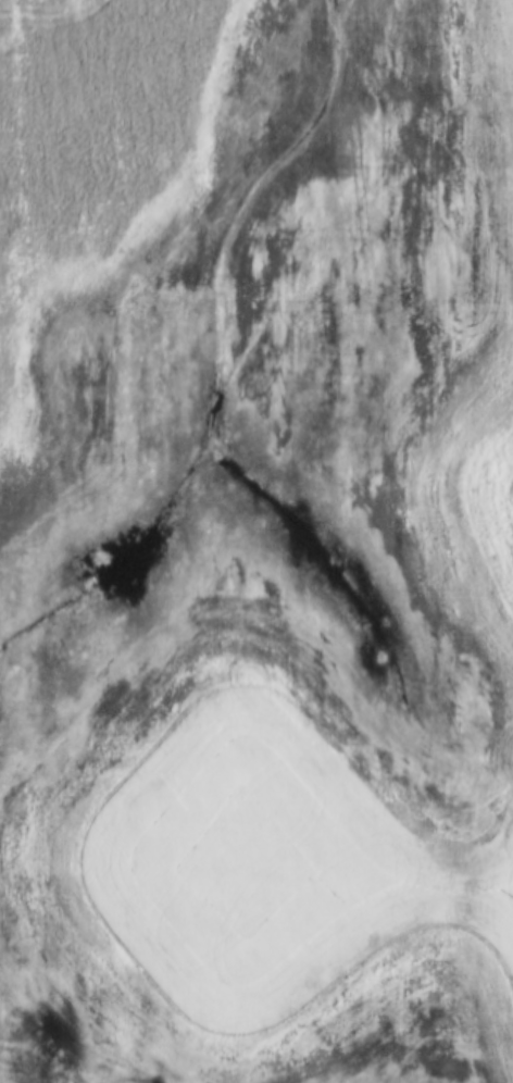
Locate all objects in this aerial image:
crop: (465, 539)

